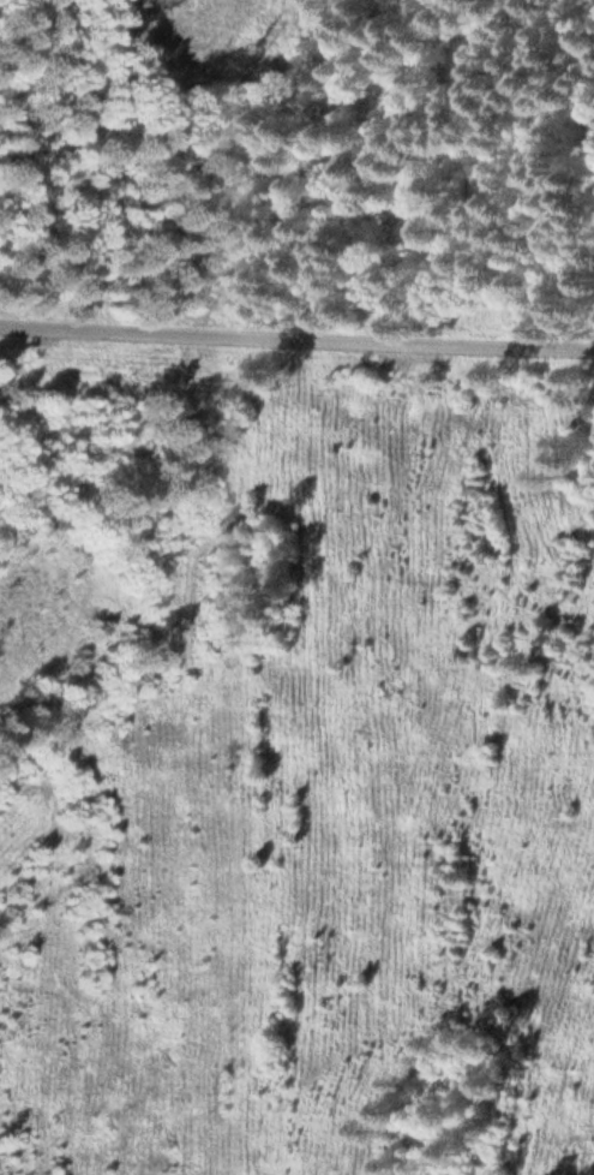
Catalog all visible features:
road: (296, 334)

